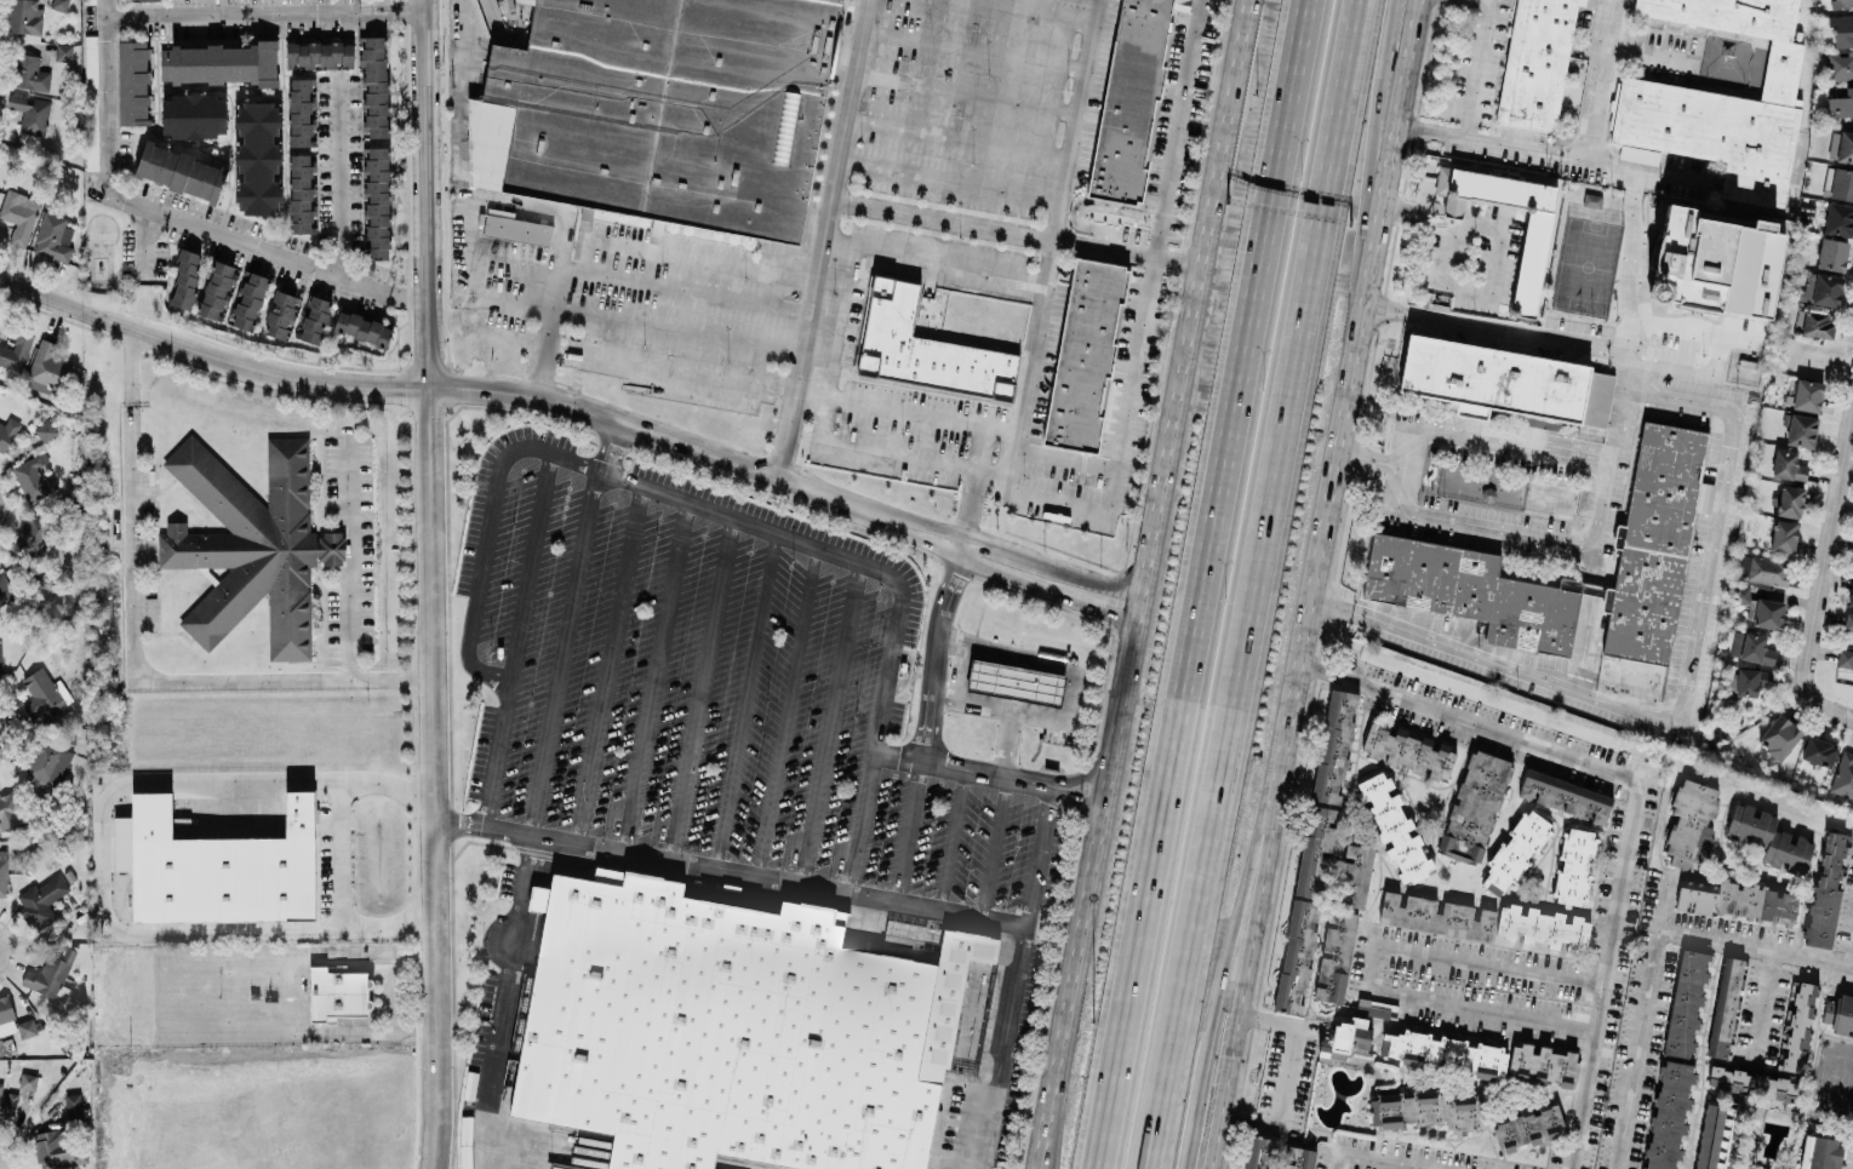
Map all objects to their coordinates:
building: (88, 0)
building: (136, 0)
building: (1842, 2)
building: (58, 5)
road: (264, 11)
building: (23, 17)
building: (1842, 29)
road: (1676, 50)
building: (63, 51)
building: (319, 53)
building: (1535, 62)
building: (217, 63)
building: (1840, 65)
building: (29, 73)
road: (1492, 73)
road: (1599, 78)
building: (132, 82)
building: (373, 85)
road: (970, 92)
building: (1132, 98)
building: (1718, 99)
building: (91, 102)
building: (1841, 104)
building: (662, 109)
building: (299, 111)
building: (25, 113)
building: (193, 115)
road: (1074, 120)
road: (961, 137)
building: (1832, 144)
building: (1845, 147)
road: (1556, 150)
building: (257, 157)
building: (181, 171)
road: (337, 177)
road: (953, 177)
building: (1838, 183)
road: (1373, 189)
building: (299, 193)
road: (425, 194)
building: (376, 202)
road: (1455, 205)
road: (1416, 206)
road: (562, 212)
building: (18, 216)
road: (175, 217)
building: (1838, 219)
building: (514, 228)
road: (1022, 234)
building: (52, 236)
road: (829, 240)
road: (476, 242)
road: (145, 243)
road: (1154, 253)
building: (1831, 253)
road: (1629, 258)
road: (937, 259)
road: (698, 260)
building: (1715, 263)
building: (1529, 267)
building: (185, 279)
building: (1826, 288)
building: (216, 290)
road: (1476, 290)
building: (247, 300)
road: (1197, 305)
building: (281, 314)
building: (314, 320)
building: (1817, 323)
building: (361, 328)
road: (657, 328)
road: (548, 330)
building: (925, 349)
building: (15, 351)
road: (1716, 351)
road: (211, 354)
road: (1030, 359)
road: (1359, 363)
building: (45, 367)
building: (1505, 380)
building: (1807, 394)
road: (828, 406)
road: (1483, 424)
building: (47, 428)
building: (1800, 429)
building: (7, 432)
road: (606, 446)
road: (1069, 459)
building: (1789, 464)
road: (972, 466)
building: (33, 479)
road: (788, 483)
building: (1704, 497)
building: (1789, 500)
road: (972, 508)
road: (1545, 525)
building: (32, 534)
building: (1783, 535)
building: (1653, 544)
building: (251, 545)
road: (1826, 556)
road: (348, 558)
road: (1717, 558)
building: (1742, 563)
road: (528, 569)
building: (1768, 569)
road: (1209, 584)
road: (1252, 584)
road: (887, 585)
building: (5, 589)
building: (1472, 591)
building: (1851, 592)
building: (1740, 594)
road: (473, 600)
building: (1767, 613)
building: (1847, 626)
building: (1737, 643)
road: (135, 648)
building: (1756, 649)
road: (565, 653)
building: (1845, 658)
road: (607, 664)
building: (0, 672)
road: (653, 677)
building: (1012, 681)
building: (1746, 682)
road: (703, 692)
road: (1070, 694)
building: (42, 695)
road: (744, 703)
road: (1831, 706)
road: (785, 714)
road: (828, 726)
building: (1778, 735)
road: (1008, 741)
building: (1408, 751)
building: (1818, 751)
road: (893, 752)
building: (47, 762)
road: (1014, 772)
building: (1843, 774)
road: (435, 778)
road: (279, 779)
building: (1565, 796)
road: (1637, 800)
building: (1474, 807)
building: (7, 813)
building: (1691, 823)
building: (1394, 826)
road: (484, 827)
road: (539, 836)
road: (953, 837)
building: (1768, 838)
road: (993, 843)
building: (1315, 848)
road: (341, 849)
road: (1040, 853)
building: (1514, 853)
building: (1574, 866)
building: (2, 872)
building: (1354, 875)
road: (102, 888)
road: (1093, 889)
building: (1825, 892)
building: (41, 900)
building: (1738, 900)
road: (899, 904)
building: (1436, 916)
building: (1542, 927)
road: (313, 930)
road: (1229, 946)
road: (1756, 946)
road: (1248, 947)
road: (1851, 955)
building: (1334, 956)
road: (1368, 967)
building: (50, 973)
road: (284, 993)
building: (337, 993)
building: (1685, 1003)
road: (1774, 1005)
building: (1725, 1007)
building: (1840, 1013)
building: (6, 1016)
building: (23, 1016)
road: (1643, 1020)
building: (1796, 1026)
building: (731, 1030)
building: (1345, 1038)
building: (1481, 1058)
road: (1283, 1077)
building: (27, 1081)
building: (1757, 1082)
building: (7, 1102)
building: (73, 1106)
building: (1428, 1108)
building: (1668, 1114)
building: (1528, 1124)
building: (1708, 1136)
building: (52, 1150)
building: (1276, 1154)
road: (1368, 1159)

